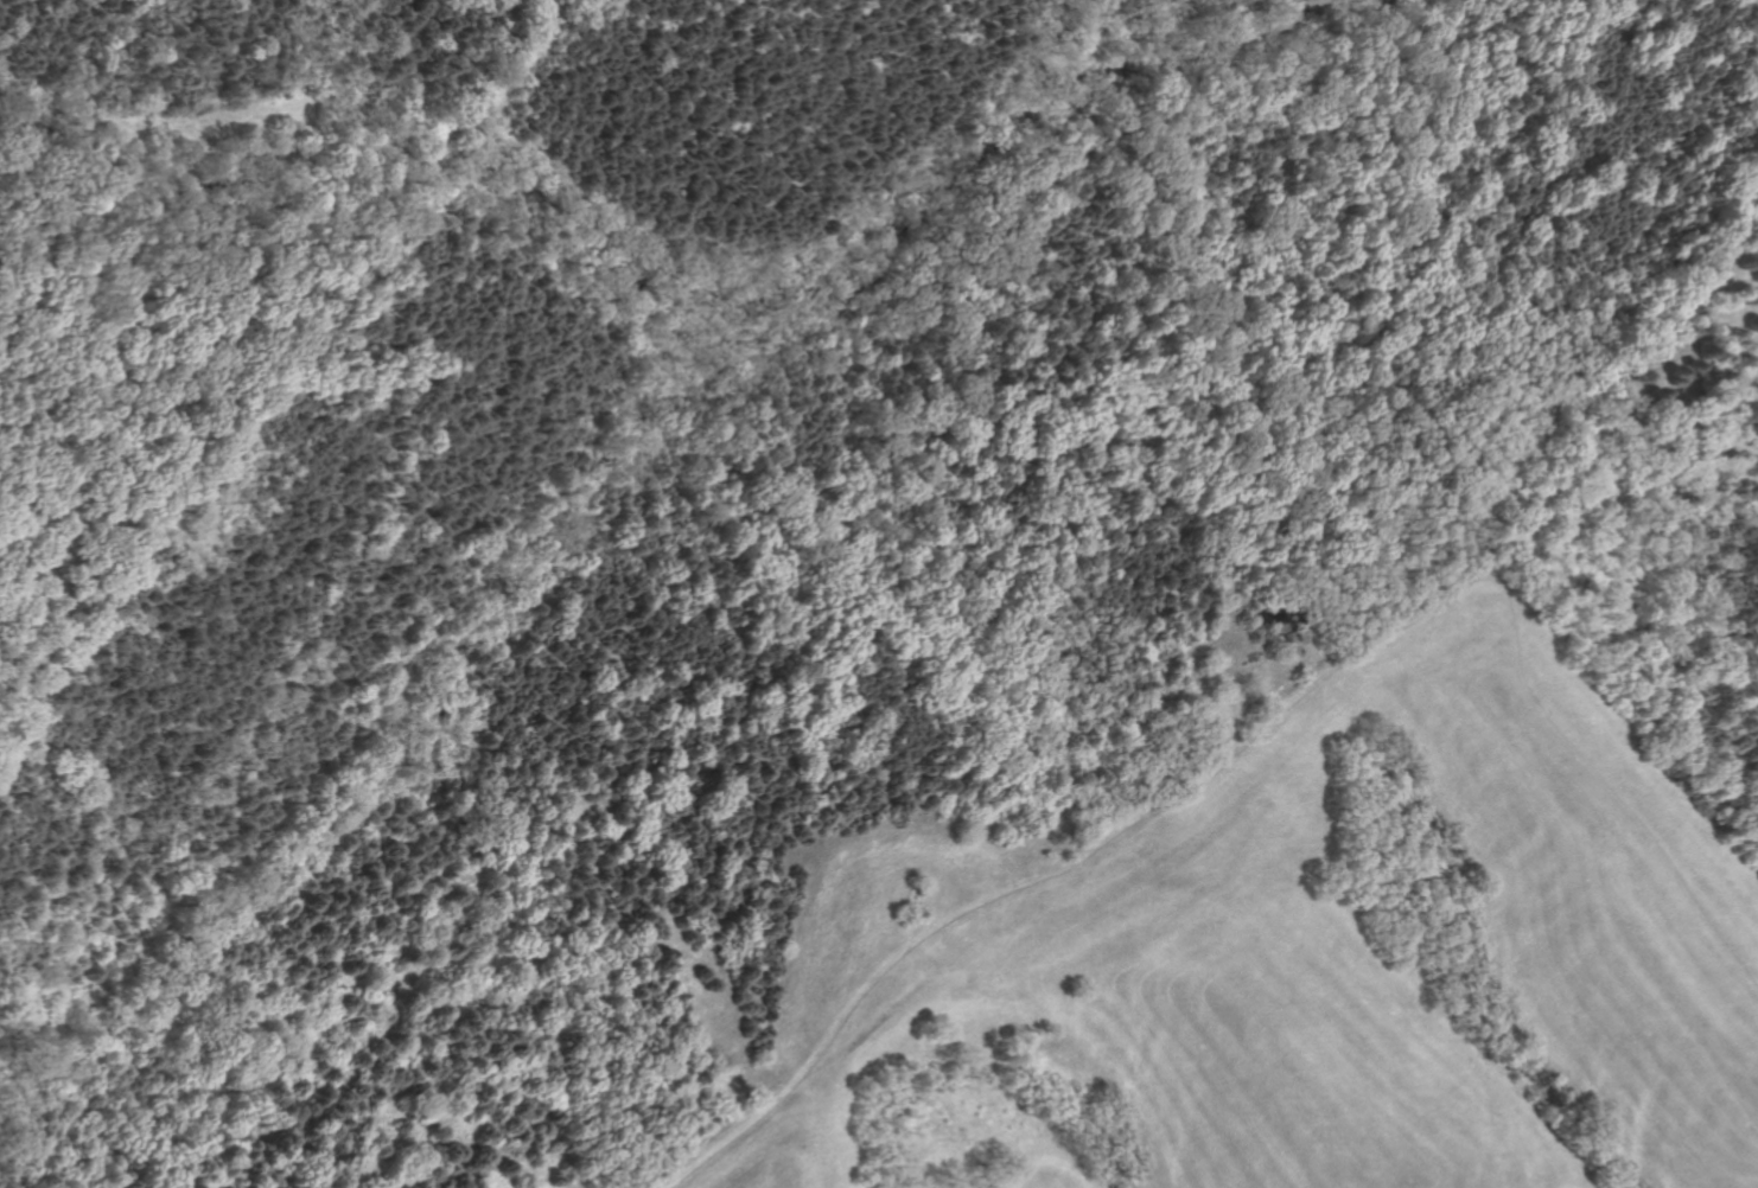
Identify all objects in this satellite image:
road: (1694, 359)
building: (1663, 405)

